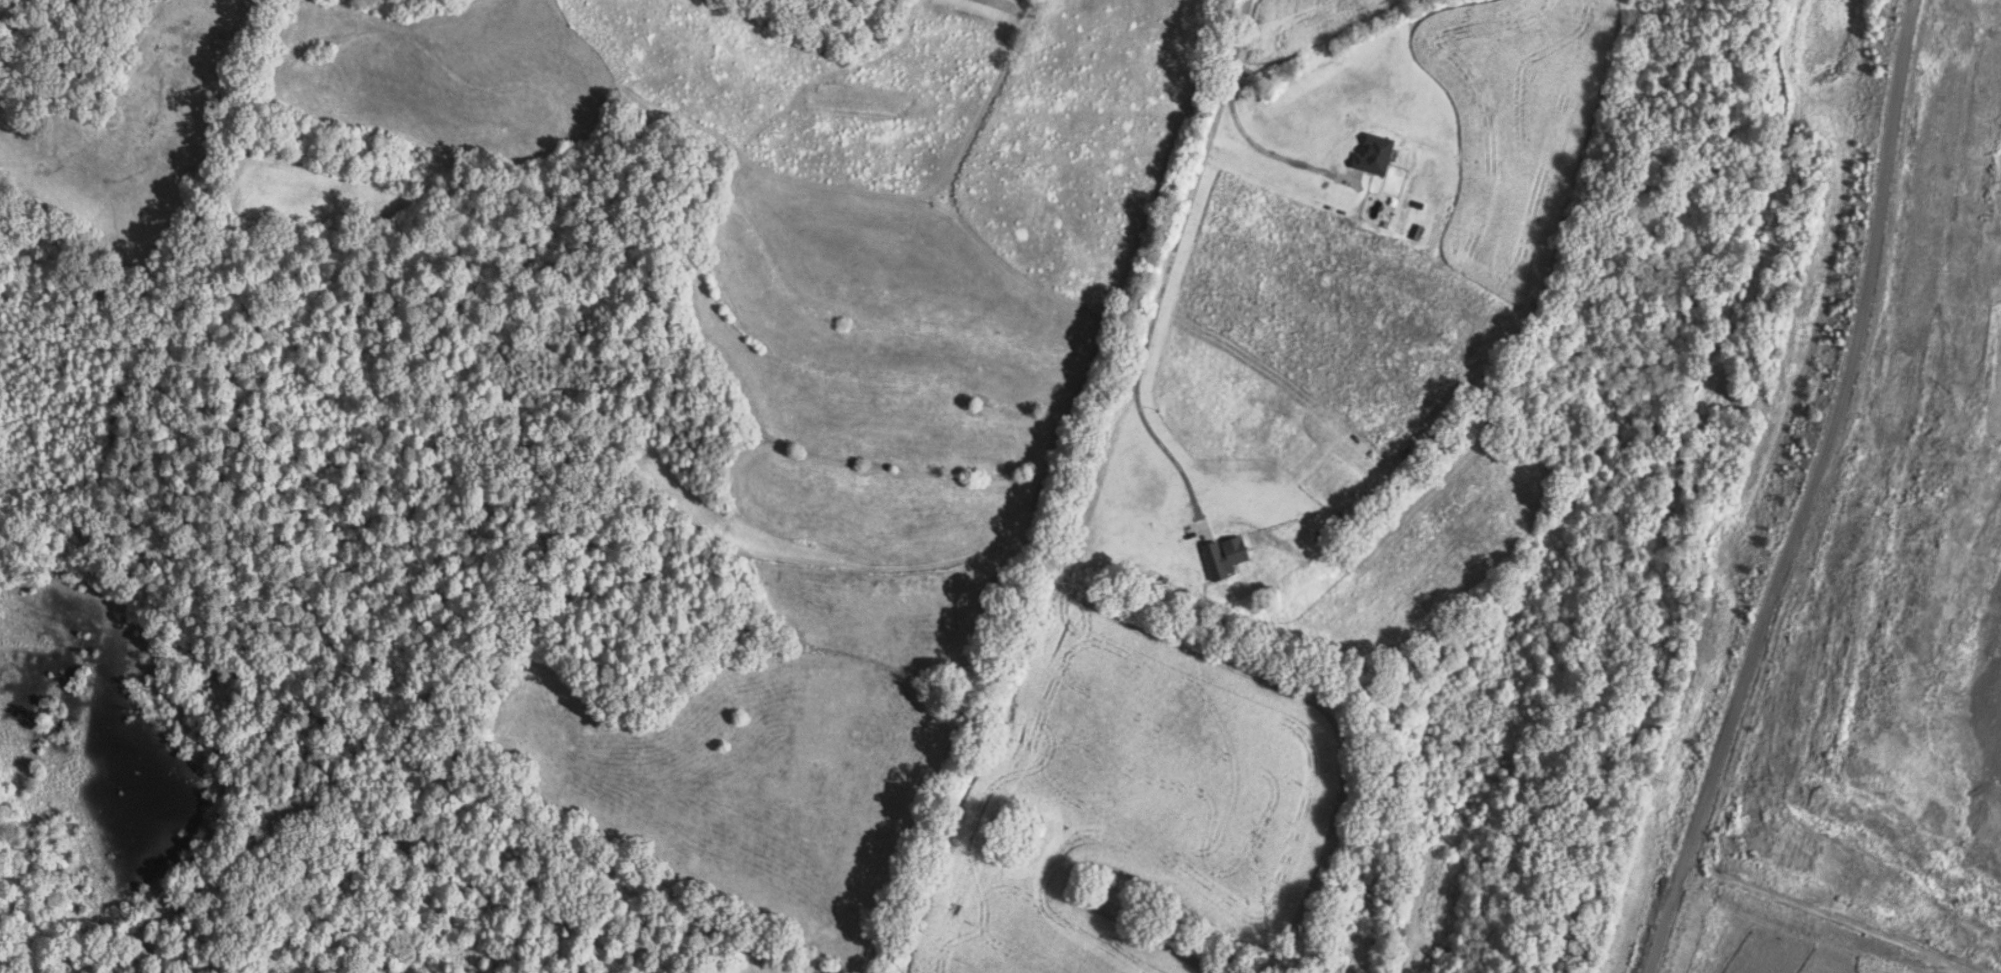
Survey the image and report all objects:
road: (1259, 144)
building: (1376, 154)
road: (1108, 285)
road: (1152, 436)

